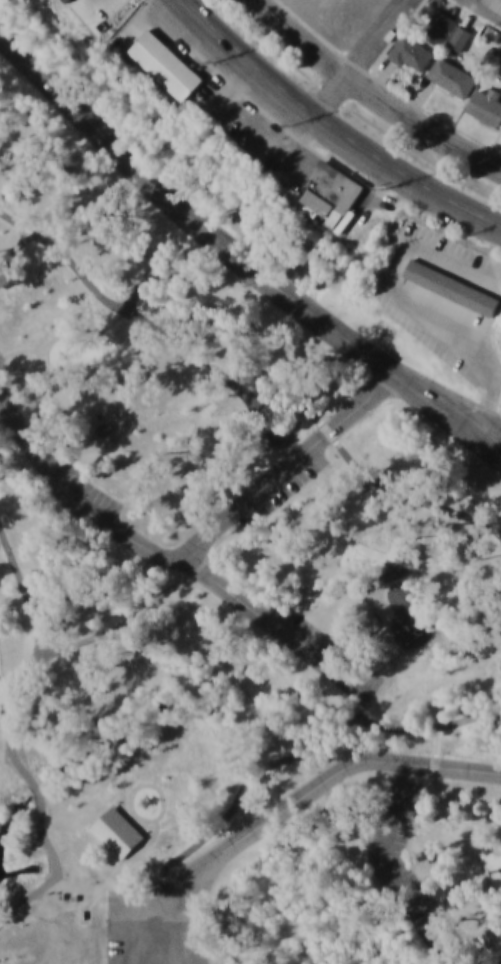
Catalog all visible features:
building: (344, 7)
building: (109, 10)
road: (485, 10)
building: (439, 26)
building: (459, 37)
road: (302, 38)
building: (411, 52)
road: (362, 57)
building: (166, 64)
building: (451, 76)
building: (486, 105)
road: (422, 123)
road: (332, 126)
building: (332, 194)
road: (236, 258)
building: (163, 264)
building: (2, 268)
building: (451, 286)
road: (140, 292)
parking lot: (2, 359)
road: (242, 393)
building: (107, 429)
building: (280, 437)
road: (495, 443)
road: (288, 466)
parking lot: (83, 488)
parking lot: (282, 488)
road: (172, 559)
park: (225, 589)
road: (128, 625)
building: (373, 626)
parking lot: (325, 649)
road: (415, 649)
road: (25, 704)
road: (433, 766)
road: (145, 785)
road: (233, 803)
building: (124, 832)
road: (245, 838)
road: (151, 842)
road: (411, 858)
road: (482, 864)
road: (387, 870)
parking lot: (417, 871)
road: (173, 883)
road: (463, 887)
parking lot: (163, 928)
building: (494, 943)

